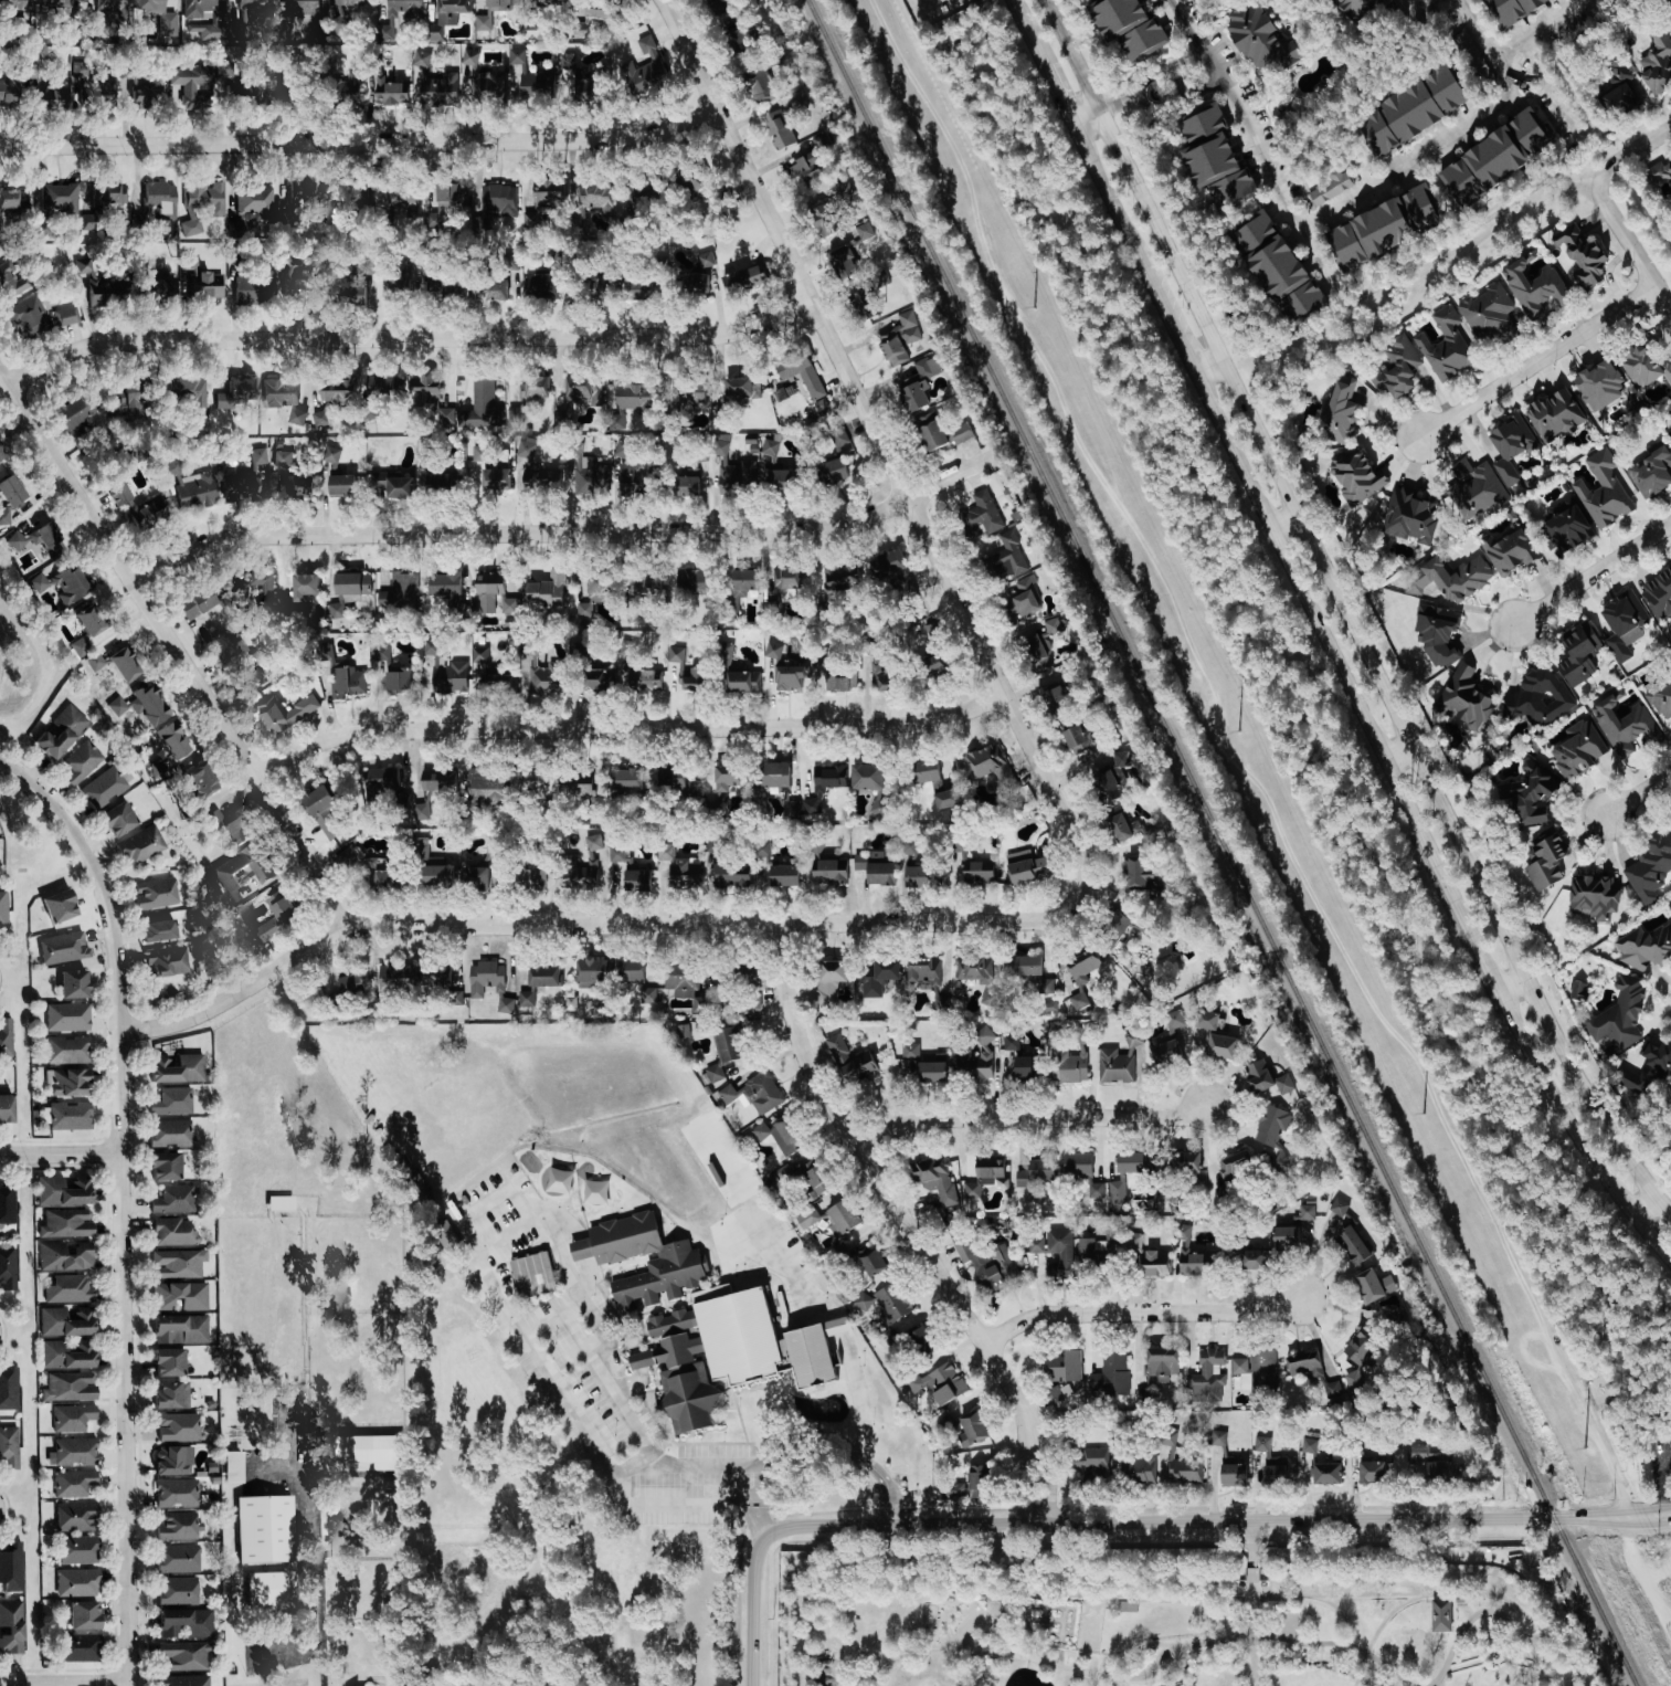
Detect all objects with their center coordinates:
building: (544, 1)
building: (718, 1)
building: (348, 2)
building: (253, 3)
road: (1438, 3)
building: (303, 6)
building: (9, 7)
building: (54, 8)
building: (1357, 8)
building: (108, 10)
building: (1512, 10)
building: (450, 11)
building: (400, 12)
building: (487, 12)
building: (157, 15)
building: (202, 20)
building: (585, 20)
building: (532, 21)
building: (1128, 28)
building: (240, 32)
building: (432, 32)
road: (1030, 33)
building: (1261, 42)
road: (1514, 43)
building: (1657, 63)
road: (1164, 69)
building: (222, 70)
building: (645, 70)
building: (28, 72)
building: (553, 78)
building: (483, 82)
building: (91, 84)
building: (346, 86)
building: (760, 86)
building: (189, 87)
road: (967, 88)
road: (1552, 88)
building: (7, 89)
building: (1619, 89)
building: (389, 92)
road: (1060, 93)
building: (146, 94)
building: (800, 103)
road: (1175, 103)
road: (1114, 104)
road: (1037, 106)
building: (1413, 110)
road: (1087, 114)
building: (778, 130)
road: (1256, 140)
road: (360, 143)
road: (1419, 147)
road: (1632, 150)
building: (1214, 157)
building: (1495, 159)
building: (810, 161)
building: (1659, 172)
building: (1328, 188)
building: (843, 191)
building: (299, 192)
building: (451, 196)
building: (203, 198)
building: (595, 198)
building: (13, 199)
building: (59, 199)
building: (401, 199)
building: (542, 200)
building: (158, 201)
building: (495, 204)
building: (101, 207)
building: (251, 209)
building: (435, 218)
building: (823, 219)
building: (1382, 230)
building: (863, 231)
road: (1630, 245)
building: (1583, 255)
building: (844, 261)
building: (1278, 266)
building: (697, 273)
building: (360, 278)
building: (744, 278)
building: (11, 280)
building: (292, 281)
building: (200, 282)
building: (414, 282)
building: (97, 284)
building: (157, 285)
building: (539, 285)
building: (490, 287)
building: (1533, 287)
building: (253, 288)
building: (861, 304)
power tower: (1033, 310)
building: (1487, 313)
building: (67, 315)
building: (30, 316)
road: (412, 336)
building: (899, 338)
building: (1445, 346)
road: (1538, 361)
building: (1644, 366)
road: (1212, 368)
building: (1396, 368)
building: (803, 378)
building: (918, 383)
building: (380, 384)
building: (1599, 384)
road: (8, 388)
building: (741, 388)
building: (532, 389)
building: (239, 391)
building: (336, 391)
building: (189, 392)
building: (574, 396)
building: (633, 397)
building: (686, 397)
building: (282, 398)
building: (427, 399)
building: (479, 407)
building: (1340, 411)
building: (368, 412)
building: (1555, 414)
building: (74, 417)
building: (319, 418)
building: (615, 421)
building: (930, 430)
building: (960, 433)
building: (836, 440)
building: (1510, 446)
building: (478, 453)
building: (525, 453)
building: (0, 455)
building: (281, 457)
road: (889, 462)
building: (832, 470)
building: (1651, 470)
building: (731, 471)
building: (248, 475)
building: (588, 475)
building: (1356, 475)
road: (949, 477)
building: (495, 478)
building: (686, 478)
building: (780, 480)
building: (437, 482)
building: (295, 483)
building: (340, 484)
building: (390, 484)
building: (189, 486)
building: (1474, 487)
building: (10, 489)
building: (1603, 491)
building: (116, 492)
building: (146, 510)
building: (983, 513)
building: (1410, 515)
road: (1283, 518)
building: (3, 520)
building: (1565, 526)
road: (517, 533)
building: (36, 539)
building: (1511, 551)
building: (1011, 554)
building: (887, 566)
road: (1593, 573)
building: (839, 577)
building: (1453, 578)
building: (786, 579)
building: (692, 581)
building: (36, 582)
building: (70, 582)
building: (444, 583)
building: (644, 583)
building: (351, 586)
building: (303, 587)
building: (253, 591)
building: (595, 591)
building: (399, 592)
building: (544, 592)
building: (491, 594)
building: (1658, 596)
building: (1025, 597)
building: (194, 602)
building: (336, 610)
road: (1349, 613)
building: (88, 620)
building: (1624, 623)
building: (1437, 632)
building: (1041, 637)
road: (173, 644)
building: (80, 646)
building: (1578, 653)
building: (478, 654)
building: (780, 655)
building: (821, 655)
building: (93, 662)
building: (247, 662)
building: (123, 664)
building: (934, 665)
building: (390, 668)
building: (633, 668)
building: (444, 671)
building: (696, 671)
building: (877, 675)
building: (789, 677)
building: (546, 678)
building: (840, 678)
building: (597, 679)
building: (742, 681)
building: (346, 682)
building: (1537, 696)
building: (1058, 697)
road: (1357, 698)
building: (1463, 699)
building: (1661, 699)
building: (150, 704)
building: (284, 713)
building: (1624, 725)
road: (627, 726)
building: (59, 731)
power tower: (1238, 734)
building: (1076, 739)
building: (167, 747)
park: (1278, 749)
building: (1578, 749)
road: (1399, 751)
building: (1121, 759)
building: (78, 762)
building: (988, 763)
building: (928, 773)
building: (727, 777)
building: (866, 777)
building: (383, 778)
building: (627, 779)
building: (436, 780)
building: (532, 782)
building: (675, 782)
building: (1106, 784)
building: (104, 786)
building: (574, 786)
building: (779, 786)
building: (823, 786)
building: (485, 788)
road: (1639, 793)
building: (1529, 794)
building: (946, 799)
building: (876, 804)
road: (1341, 807)
building: (321, 811)
building: (420, 812)
building: (214, 818)
building: (116, 819)
building: (1123, 826)
building: (234, 830)
building: (592, 842)
railway: (1220, 843)
building: (139, 845)
building: (490, 850)
building: (762, 850)
building: (909, 850)
building: (958, 856)
building: (1544, 860)
building: (987, 865)
building: (677, 867)
building: (1026, 867)
building: (1649, 867)
building: (875, 868)
building: (220, 871)
building: (630, 871)
building: (577, 872)
building: (436, 873)
building: (827, 873)
building: (975, 873)
building: (729, 874)
building: (1139, 874)
building: (783, 875)
building: (918, 876)
building: (474, 877)
building: (530, 877)
building: (155, 893)
building: (1593, 897)
building: (1670, 903)
building: (57, 906)
building: (2, 908)
building: (273, 918)
road: (570, 925)
building: (157, 930)
building: (61, 948)
building: (1644, 948)
building: (165, 961)
building: (1026, 966)
building: (973, 969)
building: (592, 972)
building: (435, 976)
building: (877, 977)
building: (395, 978)
building: (1081, 978)
building: (636, 979)
building: (680, 979)
building: (927, 979)
building: (828, 980)
building: (538, 982)
road: (1514, 982)
building: (72, 983)
building: (349, 983)
building: (488, 983)
building: (1577, 991)
building: (456, 997)
building: (988, 999)
building: (750, 1000)
building: (699, 1004)
building: (1619, 1014)
building: (65, 1018)
building: (1207, 1020)
building: (4, 1036)
building: (1168, 1041)
building: (1009, 1042)
building: (727, 1044)
building: (1221, 1046)
building: (67, 1050)
building: (837, 1050)
building: (974, 1056)
building: (1118, 1062)
building: (1069, 1065)
building: (1025, 1066)
building: (1648, 1066)
building: (857, 1067)
building: (918, 1067)
building: (176, 1068)
building: (713, 1073)
building: (1265, 1081)
building: (67, 1082)
building: (753, 1094)
building: (170, 1102)
building: (6, 1108)
building: (68, 1116)
power tower: (1423, 1117)
road: (1047, 1118)
building: (168, 1132)
building: (778, 1135)
building: (1275, 1136)
road: (61, 1152)
building: (1129, 1160)
building: (1077, 1165)
building: (163, 1166)
building: (1036, 1173)
building: (985, 1176)
building: (934, 1179)
building: (812, 1182)
building: (62, 1191)
building: (1094, 1191)
building: (1115, 1193)
building: (422, 1195)
building: (172, 1200)
road: (123, 1202)
road: (486, 1203)
road: (1643, 1203)
building: (7, 1204)
building: (1337, 1208)
building: (1305, 1211)
building: (840, 1216)
building: (806, 1218)
building: (65, 1223)
road: (917, 1225)
building: (172, 1232)
road: (505, 1235)
building: (1286, 1236)
building: (1351, 1245)
building: (1107, 1246)
building: (1054, 1251)
building: (64, 1255)
building: (1194, 1257)
building: (1246, 1257)
building: (986, 1262)
building: (872, 1263)
building: (178, 1264)
building: (1155, 1264)
building: (7, 1269)
building: (531, 1274)
building: (1373, 1285)
building: (68, 1289)
building: (179, 1296)
building: (861, 1302)
building: (890, 1303)
road: (1156, 1314)
building: (1389, 1316)
building: (704, 1319)
building: (64, 1321)
building: (838, 1326)
building: (179, 1329)
building: (922, 1341)
building: (1363, 1347)
building: (65, 1355)
road: (573, 1355)
building: (167, 1362)
building: (1162, 1364)
building: (1303, 1364)
building: (1062, 1366)
building: (1256, 1371)
building: (1113, 1372)
building: (1207, 1377)
building: (939, 1384)
building: (1354, 1384)
building: (67, 1387)
building: (8, 1388)
building: (1331, 1392)
building: (1058, 1393)
building: (170, 1395)
building: (71, 1418)
building: (974, 1426)
building: (177, 1427)
road: (636, 1431)
road: (831, 1437)
parking lot: (1661, 1443)
building: (8, 1447)
building: (1262, 1447)
building: (368, 1451)
power tower: (1585, 1451)
building: (72, 1452)
building: (172, 1461)
building: (1088, 1461)
building: (1228, 1461)
building: (1177, 1462)
road: (610, 1463)
road: (633, 1464)
building: (1427, 1464)
building: (231, 1467)
building: (1316, 1467)
building: (1138, 1468)
building: (1372, 1473)
building: (1275, 1475)
road: (1660, 1482)
building: (72, 1483)
building: (967, 1486)
road: (296, 1489)
building: (174, 1493)
building: (75, 1517)
road: (1140, 1521)
building: (174, 1526)
building: (264, 1529)
building: (76, 1550)
building: (177, 1559)
building: (10, 1568)
building: (1251, 1578)
road: (985, 1579)
building: (75, 1583)
building: (176, 1591)
building: (265, 1591)
railway: (1181, 1599)
building: (1466, 1600)
road: (1251, 1603)
road: (319, 1606)
road: (1489, 1612)
building: (82, 1615)
building: (1440, 1615)
railway: (1345, 1621)
building: (184, 1623)
building: (10, 1627)
railway: (1379, 1629)
road: (1487, 1631)
building: (78, 1647)
building: (184, 1656)
road: (1489, 1659)
road: (1521, 1664)
road: (1464, 1665)
road: (1139, 1677)
building: (184, 1680)

